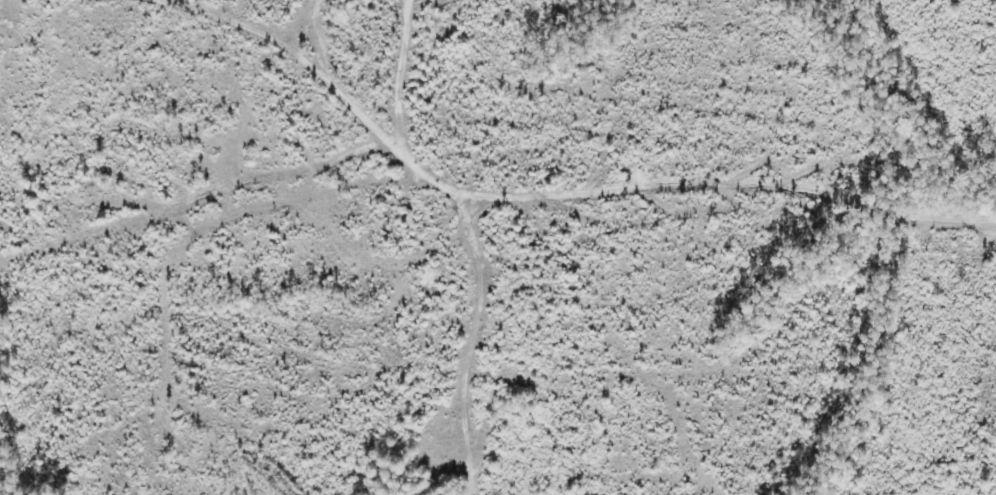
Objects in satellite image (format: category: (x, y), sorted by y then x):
road: (296, 51)
road: (647, 198)

